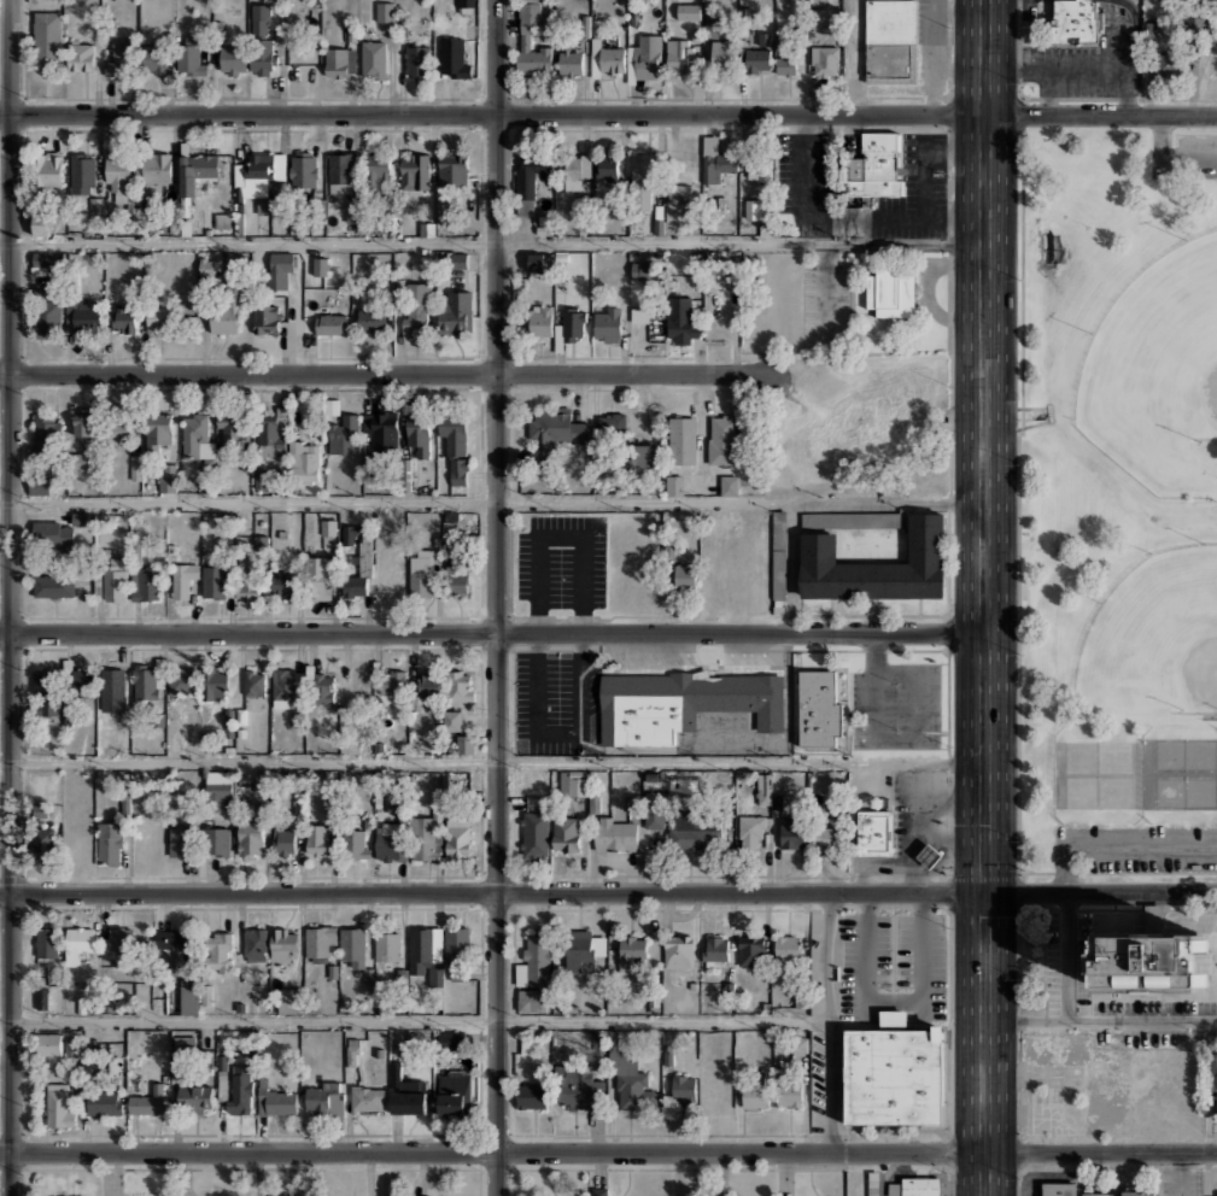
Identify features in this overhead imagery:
building: (464, 6)
building: (385, 11)
building: (689, 12)
building: (819, 17)
building: (890, 22)
building: (1075, 22)
building: (46, 36)
building: (262, 39)
building: (522, 40)
building: (721, 52)
building: (678, 54)
building: (81, 55)
building: (118, 57)
building: (454, 57)
building: (644, 57)
building: (373, 58)
building: (157, 59)
building: (191, 59)
building: (232, 59)
building: (417, 59)
building: (612, 59)
building: (340, 60)
building: (571, 60)
building: (757, 60)
building: (824, 60)
building: (888, 63)
building: (785, 64)
building: (1169, 64)
road: (608, 115)
parking lot: (1186, 156)
road: (1165, 162)
building: (718, 164)
building: (871, 165)
building: (157, 166)
building: (575, 166)
building: (48, 169)
building: (303, 169)
building: (378, 169)
building: (451, 169)
building: (760, 169)
building: (195, 170)
building: (415, 170)
building: (343, 171)
building: (82, 172)
building: (117, 172)
building: (607, 172)
building: (529, 175)
building: (258, 178)
building: (642, 181)
road: (924, 183)
building: (680, 193)
building: (525, 206)
building: (94, 207)
building: (751, 209)
building: (355, 211)
road: (814, 217)
building: (41, 222)
road: (492, 242)
building: (538, 259)
building: (456, 260)
building: (45, 262)
building: (321, 265)
building: (206, 269)
building: (280, 269)
building: (643, 269)
building: (889, 292)
building: (229, 307)
building: (416, 307)
building: (456, 312)
building: (82, 315)
building: (332, 315)
building: (47, 317)
building: (166, 318)
building: (267, 318)
building: (370, 318)
building: (124, 319)
building: (680, 319)
building: (538, 321)
building: (605, 323)
building: (571, 324)
park: (1155, 352)
road: (382, 374)
building: (86, 421)
building: (612, 426)
building: (229, 428)
building: (118, 430)
building: (157, 430)
building: (379, 430)
building: (419, 430)
building: (554, 430)
building: (271, 433)
building: (46, 434)
building: (345, 434)
building: (454, 434)
building: (195, 435)
building: (681, 439)
building: (720, 439)
building: (644, 453)
building: (304, 459)
building: (80, 461)
building: (135, 467)
building: (458, 471)
building: (168, 477)
building: (264, 477)
building: (41, 483)
building: (673, 483)
building: (729, 483)
road: (492, 502)
park: (1116, 503)
building: (80, 518)
building: (852, 518)
building: (328, 527)
building: (53, 533)
building: (349, 534)
road: (560, 535)
building: (261, 543)
building: (778, 553)
parking lot: (561, 559)
building: (876, 565)
building: (422, 571)
building: (359, 573)
building: (391, 574)
building: (684, 574)
building: (182, 576)
building: (321, 578)
building: (115, 579)
building: (215, 580)
building: (146, 581)
building: (457, 581)
building: (282, 584)
building: (53, 585)
building: (248, 587)
road: (10, 597)
road: (985, 597)
road: (496, 598)
road: (492, 635)
park: (1153, 638)
building: (182, 680)
building: (82, 681)
building: (147, 681)
building: (253, 681)
building: (357, 681)
building: (393, 681)
building: (215, 684)
building: (427, 684)
building: (461, 685)
building: (287, 686)
building: (321, 687)
building: (46, 691)
building: (681, 703)
parking lot: (895, 704)
building: (818, 708)
building: (454, 720)
building: (466, 743)
road: (492, 761)
building: (262, 781)
building: (523, 782)
building: (573, 782)
building: (217, 787)
building: (763, 788)
building: (634, 804)
building: (695, 829)
building: (750, 831)
building: (791, 832)
building: (873, 832)
building: (566, 833)
building: (614, 833)
building: (531, 834)
building: (826, 836)
building: (426, 837)
building: (250, 838)
building: (316, 838)
building: (458, 838)
building: (177, 840)
building: (218, 840)
building: (283, 840)
building: (43, 843)
building: (110, 843)
building: (356, 843)
building: (387, 843)
road: (1116, 845)
parking lot: (1137, 846)
building: (928, 855)
gas station: (928, 855)
road: (608, 893)
building: (45, 940)
building: (77, 942)
building: (118, 942)
building: (320, 942)
building: (456, 942)
building: (254, 943)
building: (387, 944)
building: (283, 945)
building: (175, 946)
building: (352, 946)
building: (583, 946)
building: (423, 948)
building: (716, 948)
building: (786, 949)
building: (630, 950)
building: (218, 951)
building: (678, 951)
building: (750, 951)
parking lot: (865, 955)
parking lot: (921, 955)
road: (1064, 957)
building: (533, 961)
building: (1152, 961)
building: (42, 998)
building: (527, 998)
building: (189, 999)
building: (289, 999)
road: (414, 1018)
road: (827, 1022)
road: (1101, 1022)
building: (452, 1039)
building: (49, 1043)
building: (183, 1043)
building: (529, 1043)
building: (800, 1043)
building: (352, 1051)
building: (92, 1066)
building: (893, 1073)
building: (631, 1080)
building: (575, 1086)
building: (240, 1087)
building: (683, 1089)
building: (788, 1089)
building: (455, 1091)
building: (531, 1095)
building: (1216, 1095)
building: (754, 1096)
building: (195, 1098)
building: (274, 1098)
building: (324, 1098)
building: (367, 1098)
building: (408, 1100)
building: (148, 1101)
building: (105, 1102)
building: (59, 1104)
road: (608, 1151)
building: (873, 1183)
building: (915, 1186)
building: (1058, 1189)
building: (599, 1191)
building: (1122, 1192)
building: (1212, 1194)
building: (71, 1195)
building: (289, 1195)

